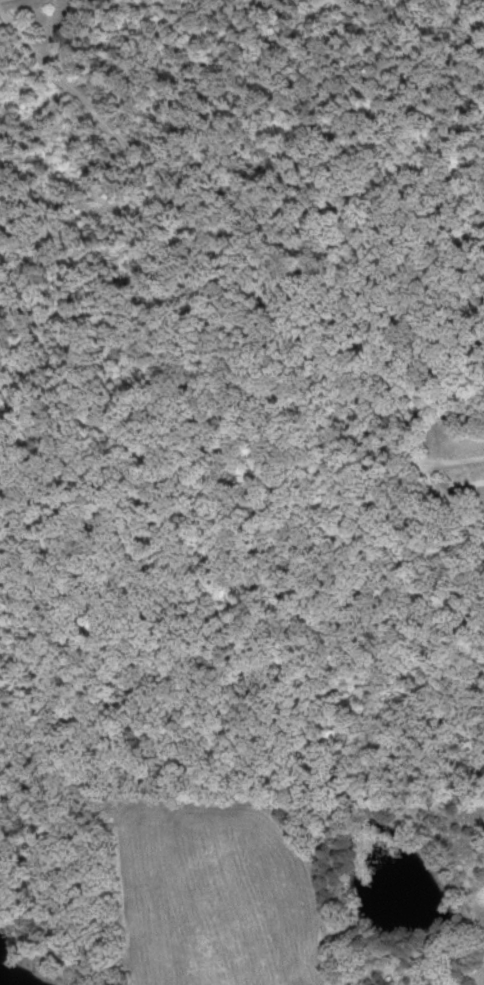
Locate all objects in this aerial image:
road: (248, 298)
road: (444, 473)

